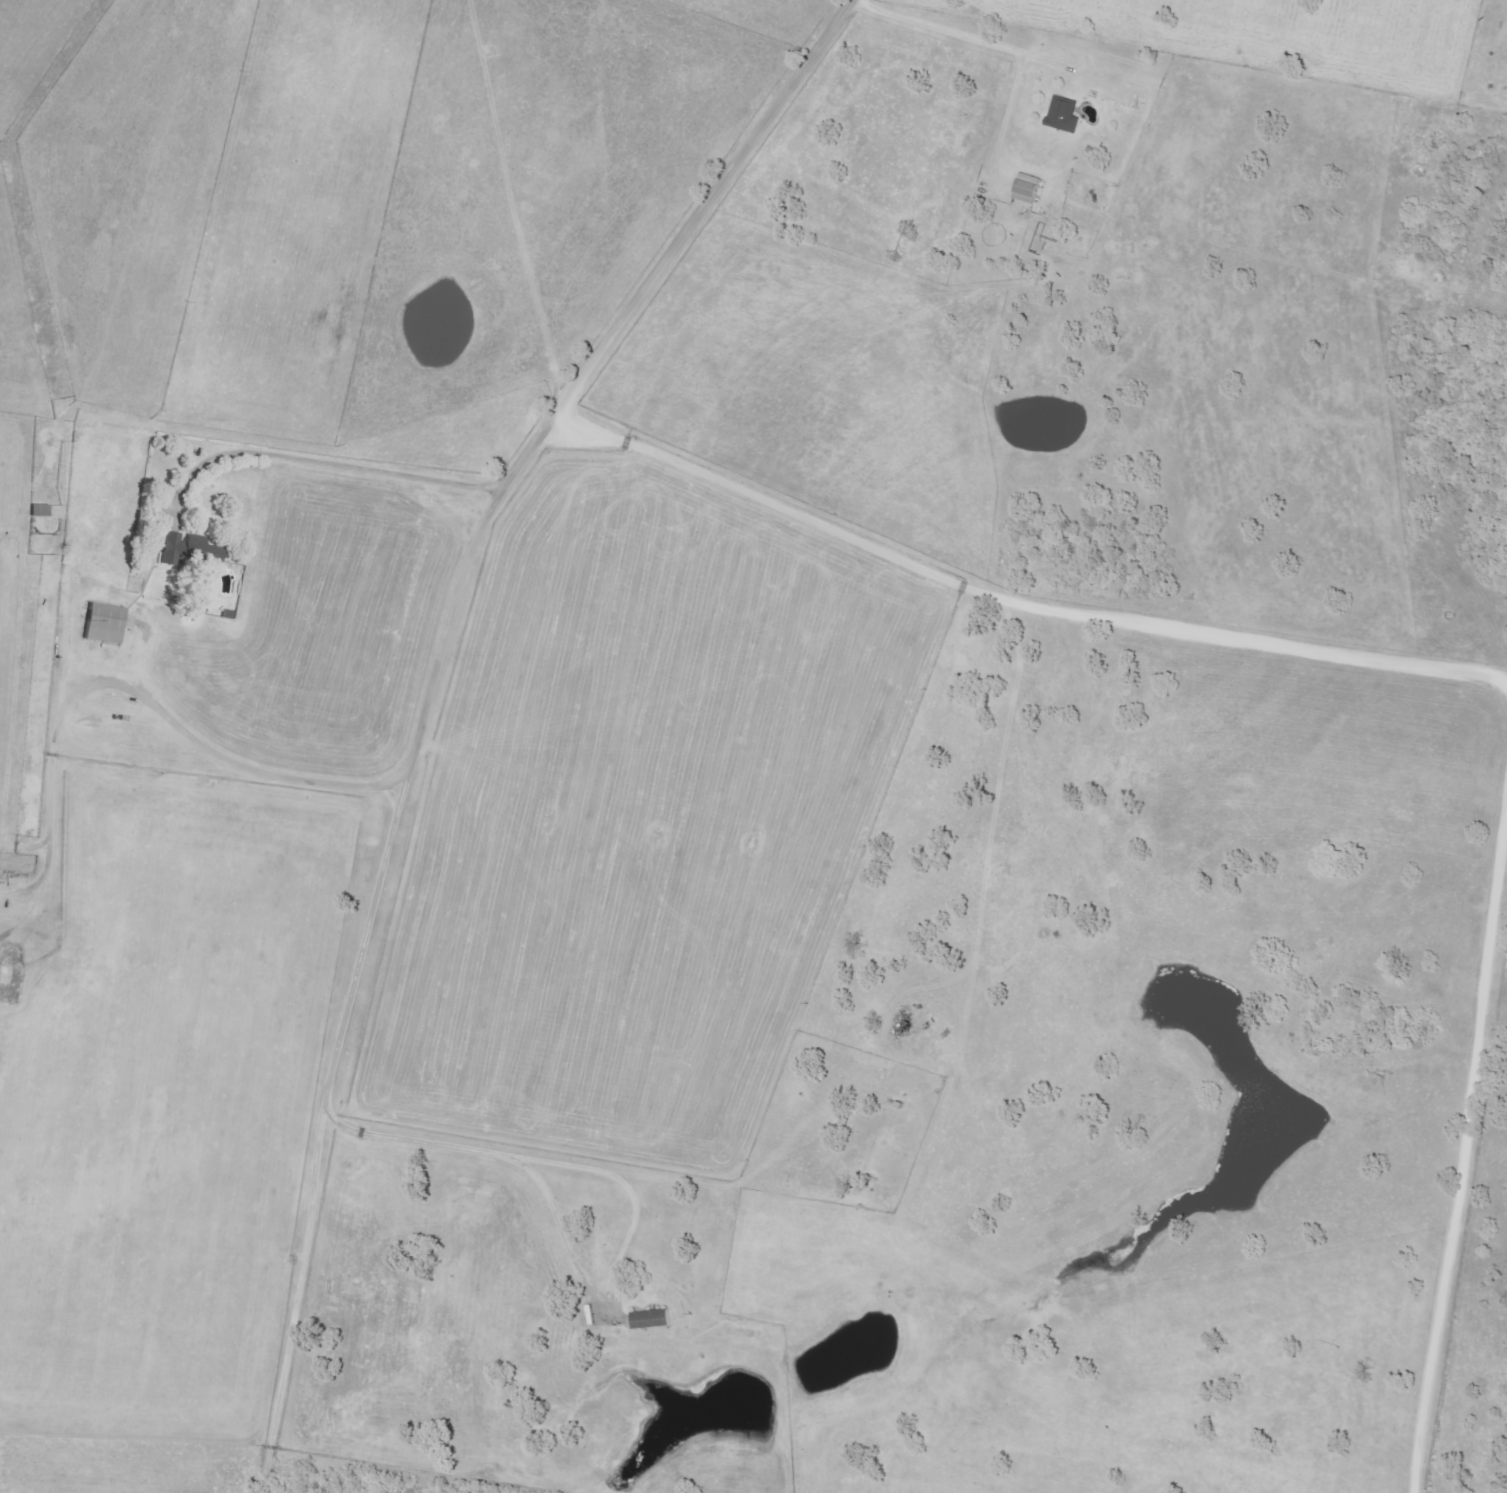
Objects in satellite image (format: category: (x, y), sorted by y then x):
road: (947, 30)
building: (1061, 114)
building: (1024, 187)
road: (320, 466)
building: (185, 549)
road: (1021, 599)
building: (100, 623)
road: (428, 693)
road: (226, 759)
road: (1456, 1136)
building: (649, 1319)

